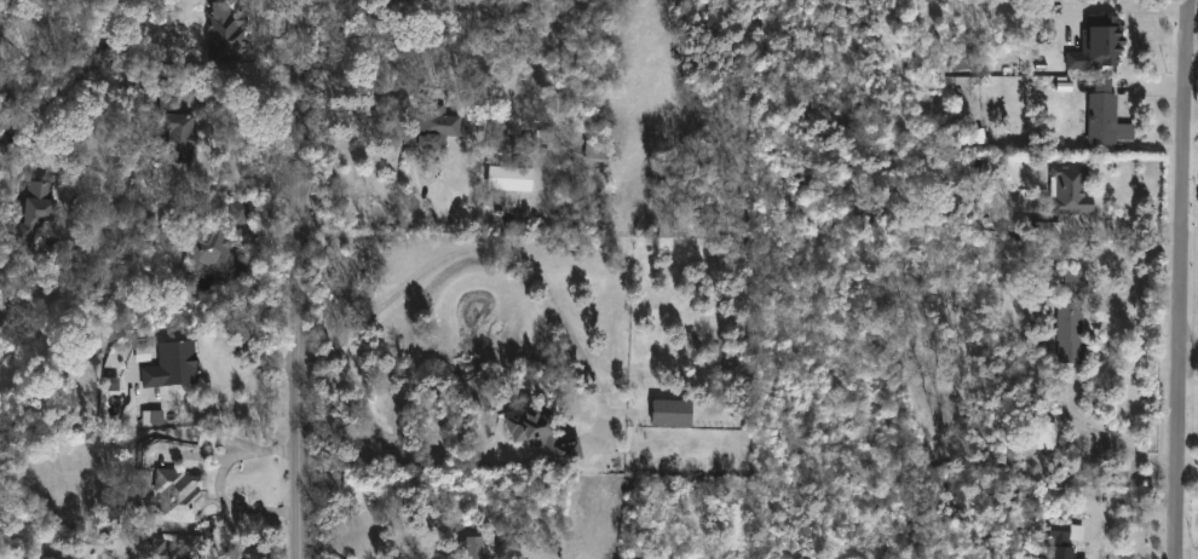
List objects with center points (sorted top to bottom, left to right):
road: (1115, 4)
building: (226, 30)
road: (1187, 36)
building: (1101, 44)
building: (1106, 81)
building: (1106, 116)
building: (433, 122)
building: (179, 134)
building: (597, 151)
building: (509, 177)
road: (213, 185)
building: (1075, 189)
building: (36, 208)
building: (240, 213)
road: (370, 221)
road: (1127, 232)
road: (478, 247)
building: (220, 253)
road: (304, 279)
road: (1182, 316)
building: (1075, 317)
road: (1190, 347)
building: (175, 363)
road: (235, 382)
building: (674, 410)
building: (152, 416)
building: (543, 433)
road: (1112, 434)
building: (1046, 436)
building: (206, 437)
road: (219, 480)
building: (182, 494)
building: (1065, 528)
building: (477, 547)
building: (168, 549)
building: (1069, 552)
road: (1188, 552)
road: (275, 554)

